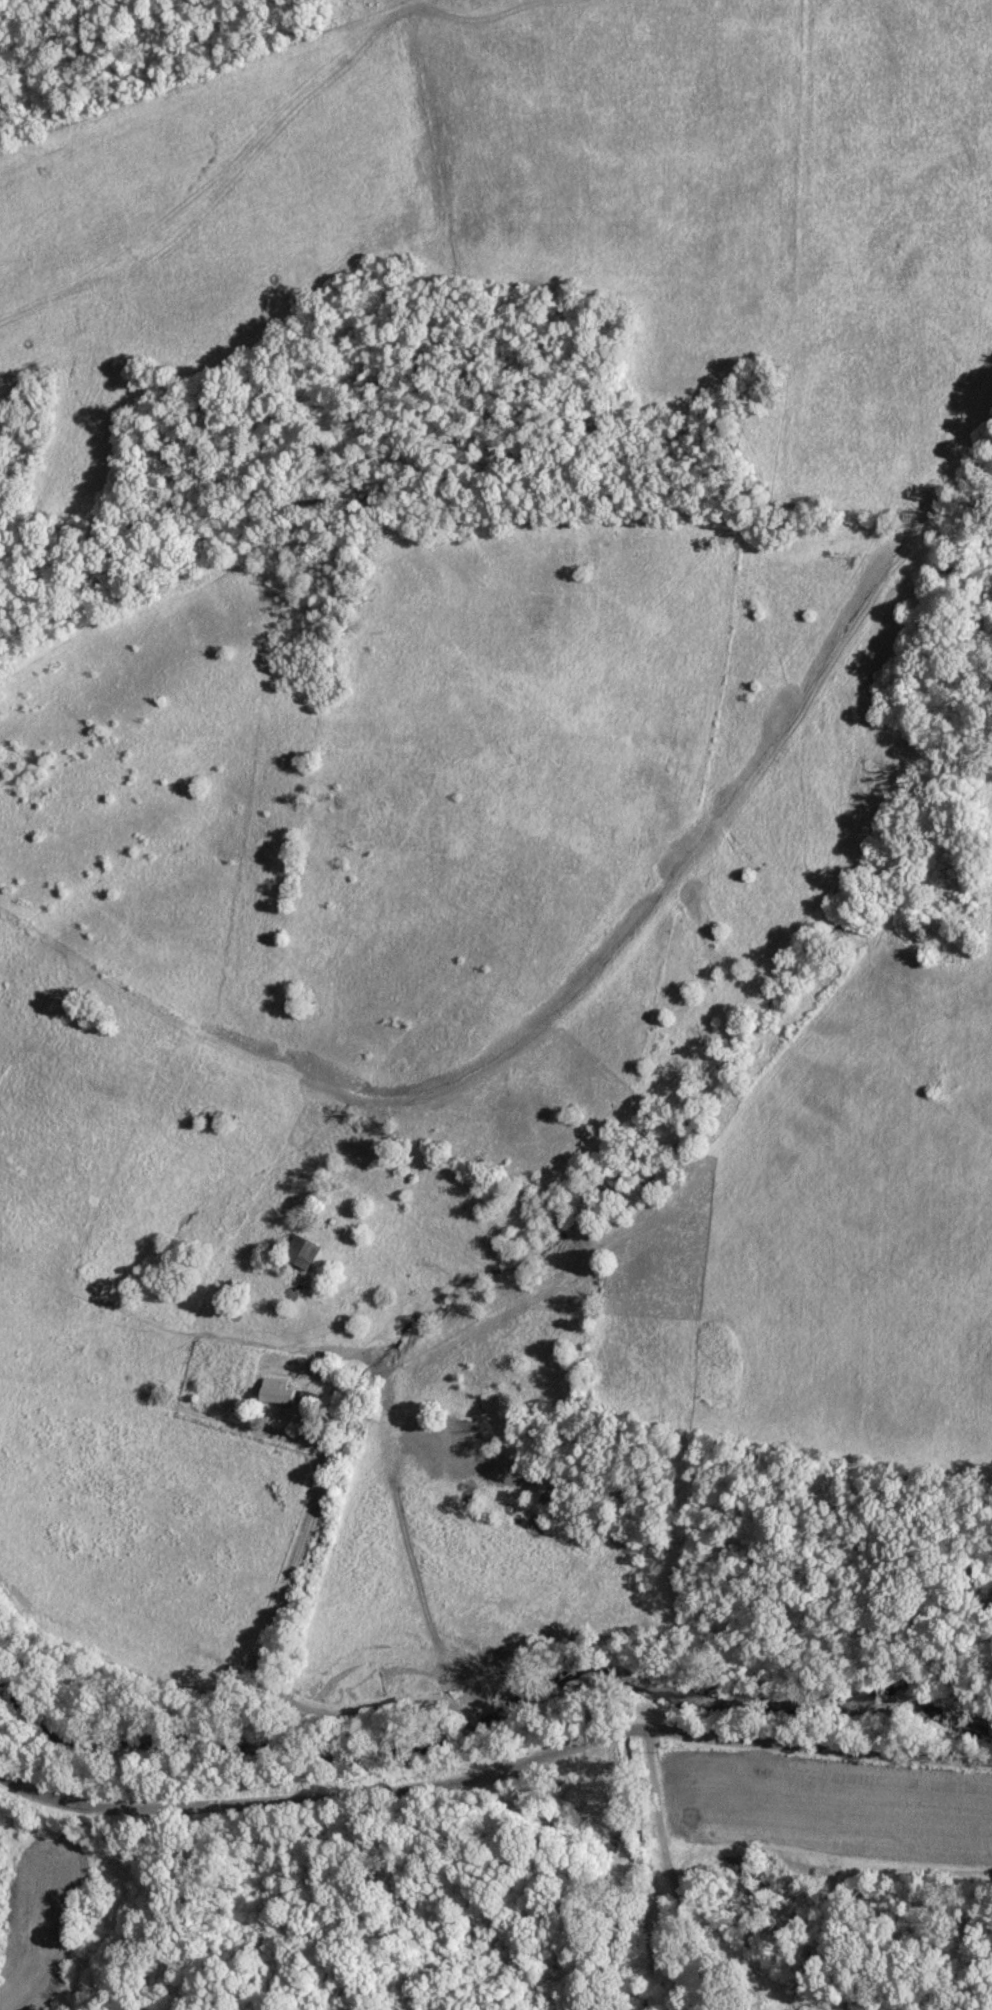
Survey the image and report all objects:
building: (306, 1252)
building: (282, 1395)
road: (304, 1612)
road: (494, 1748)
road: (495, 1780)
road: (723, 1880)

